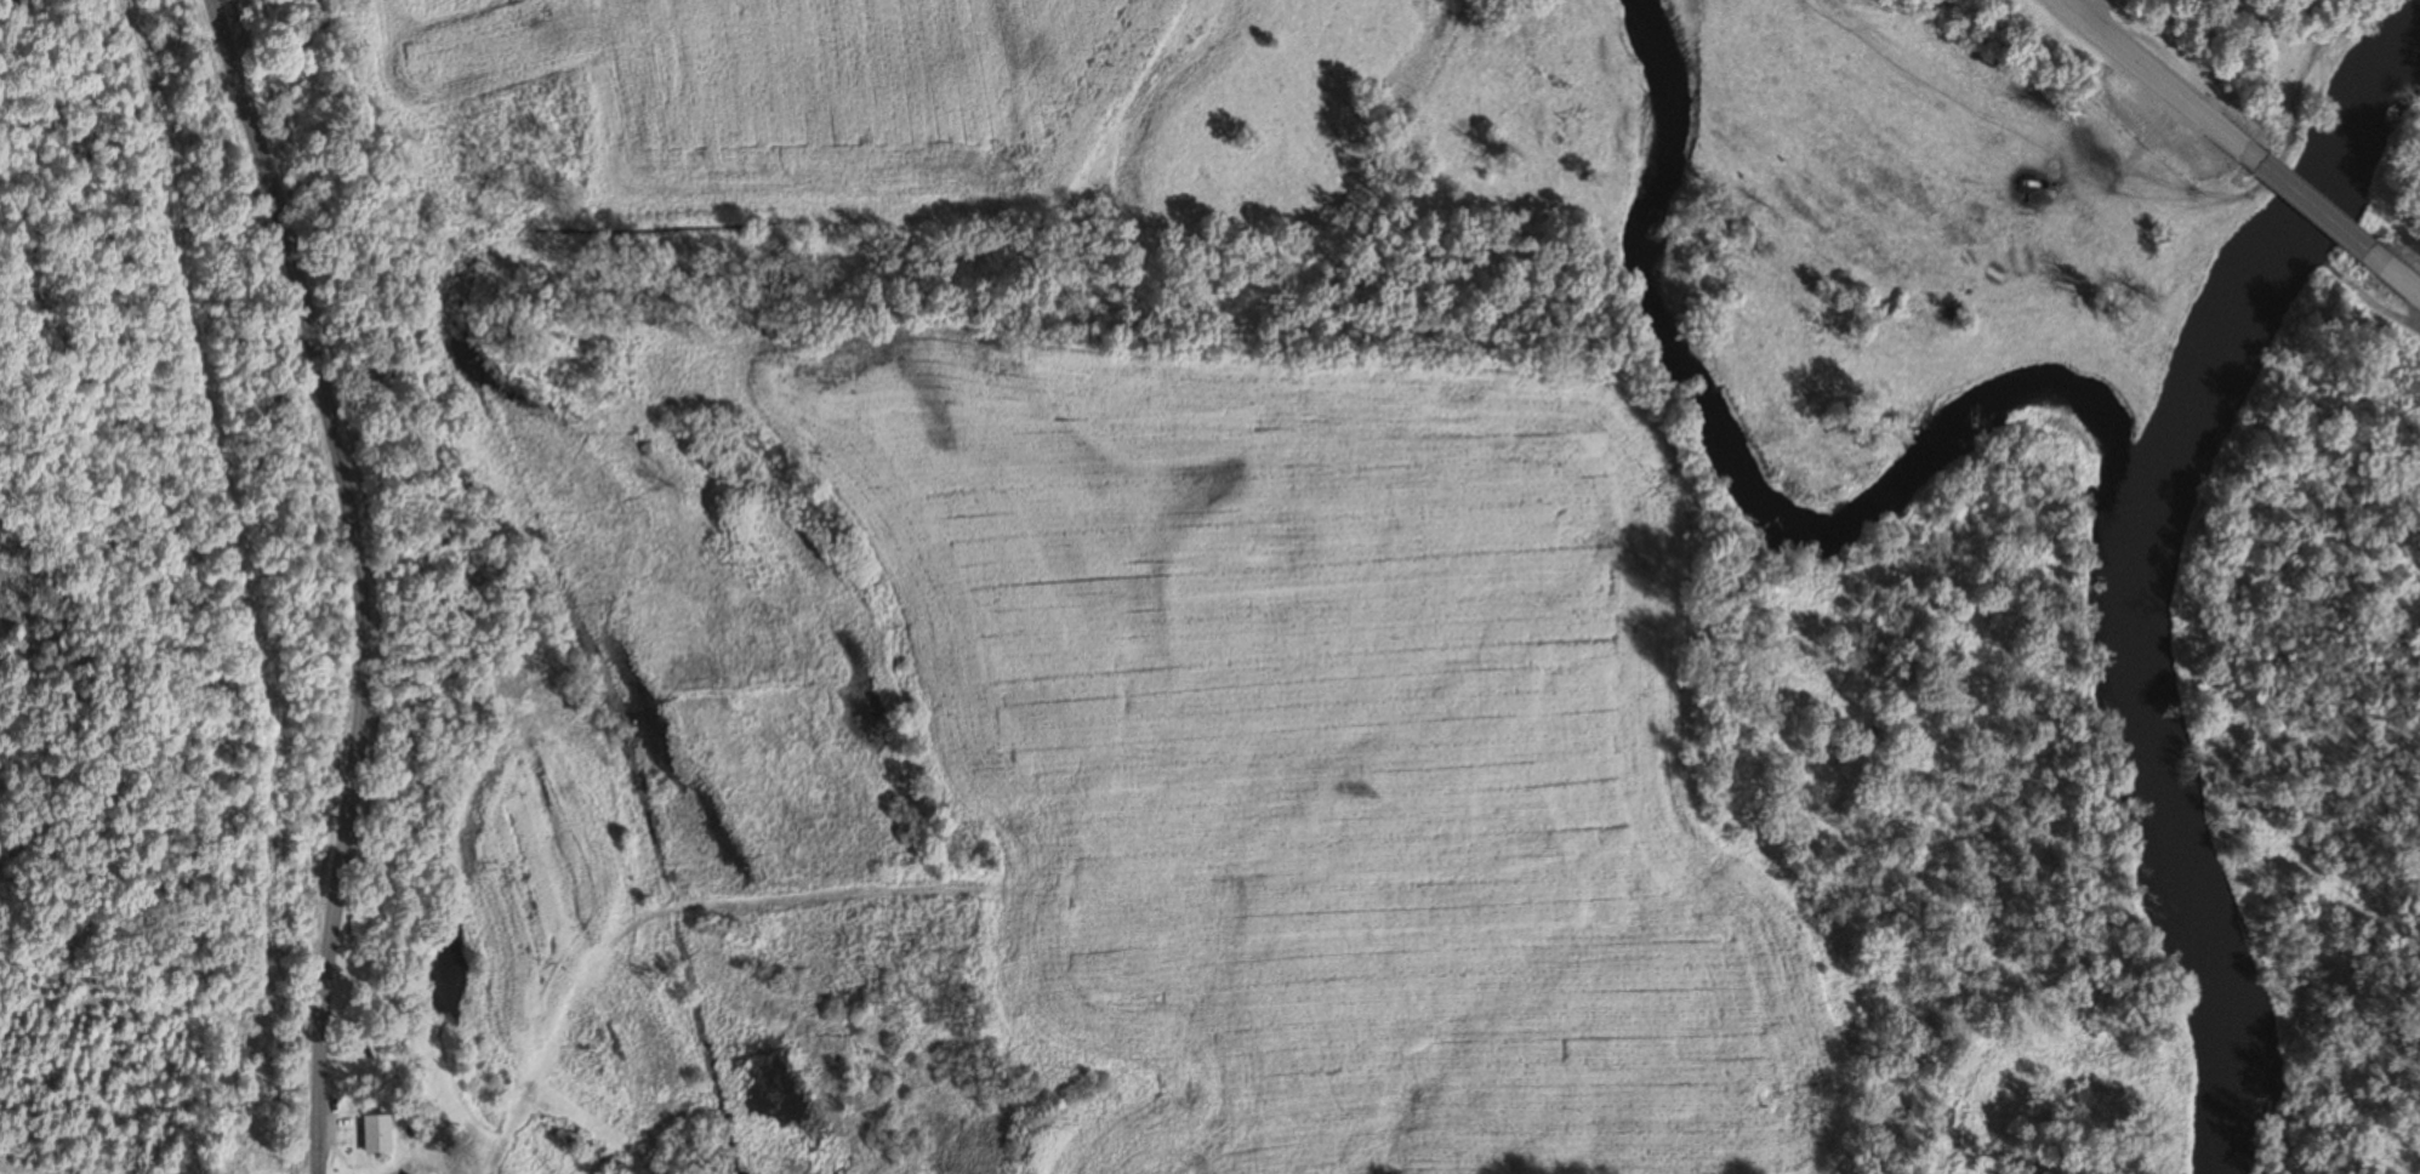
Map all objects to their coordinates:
road: (2068, 6)
road: (2083, 6)
road: (2166, 89)
road: (2313, 210)
road: (2395, 274)
river: (2147, 568)
road: (358, 579)
building: (375, 1135)

